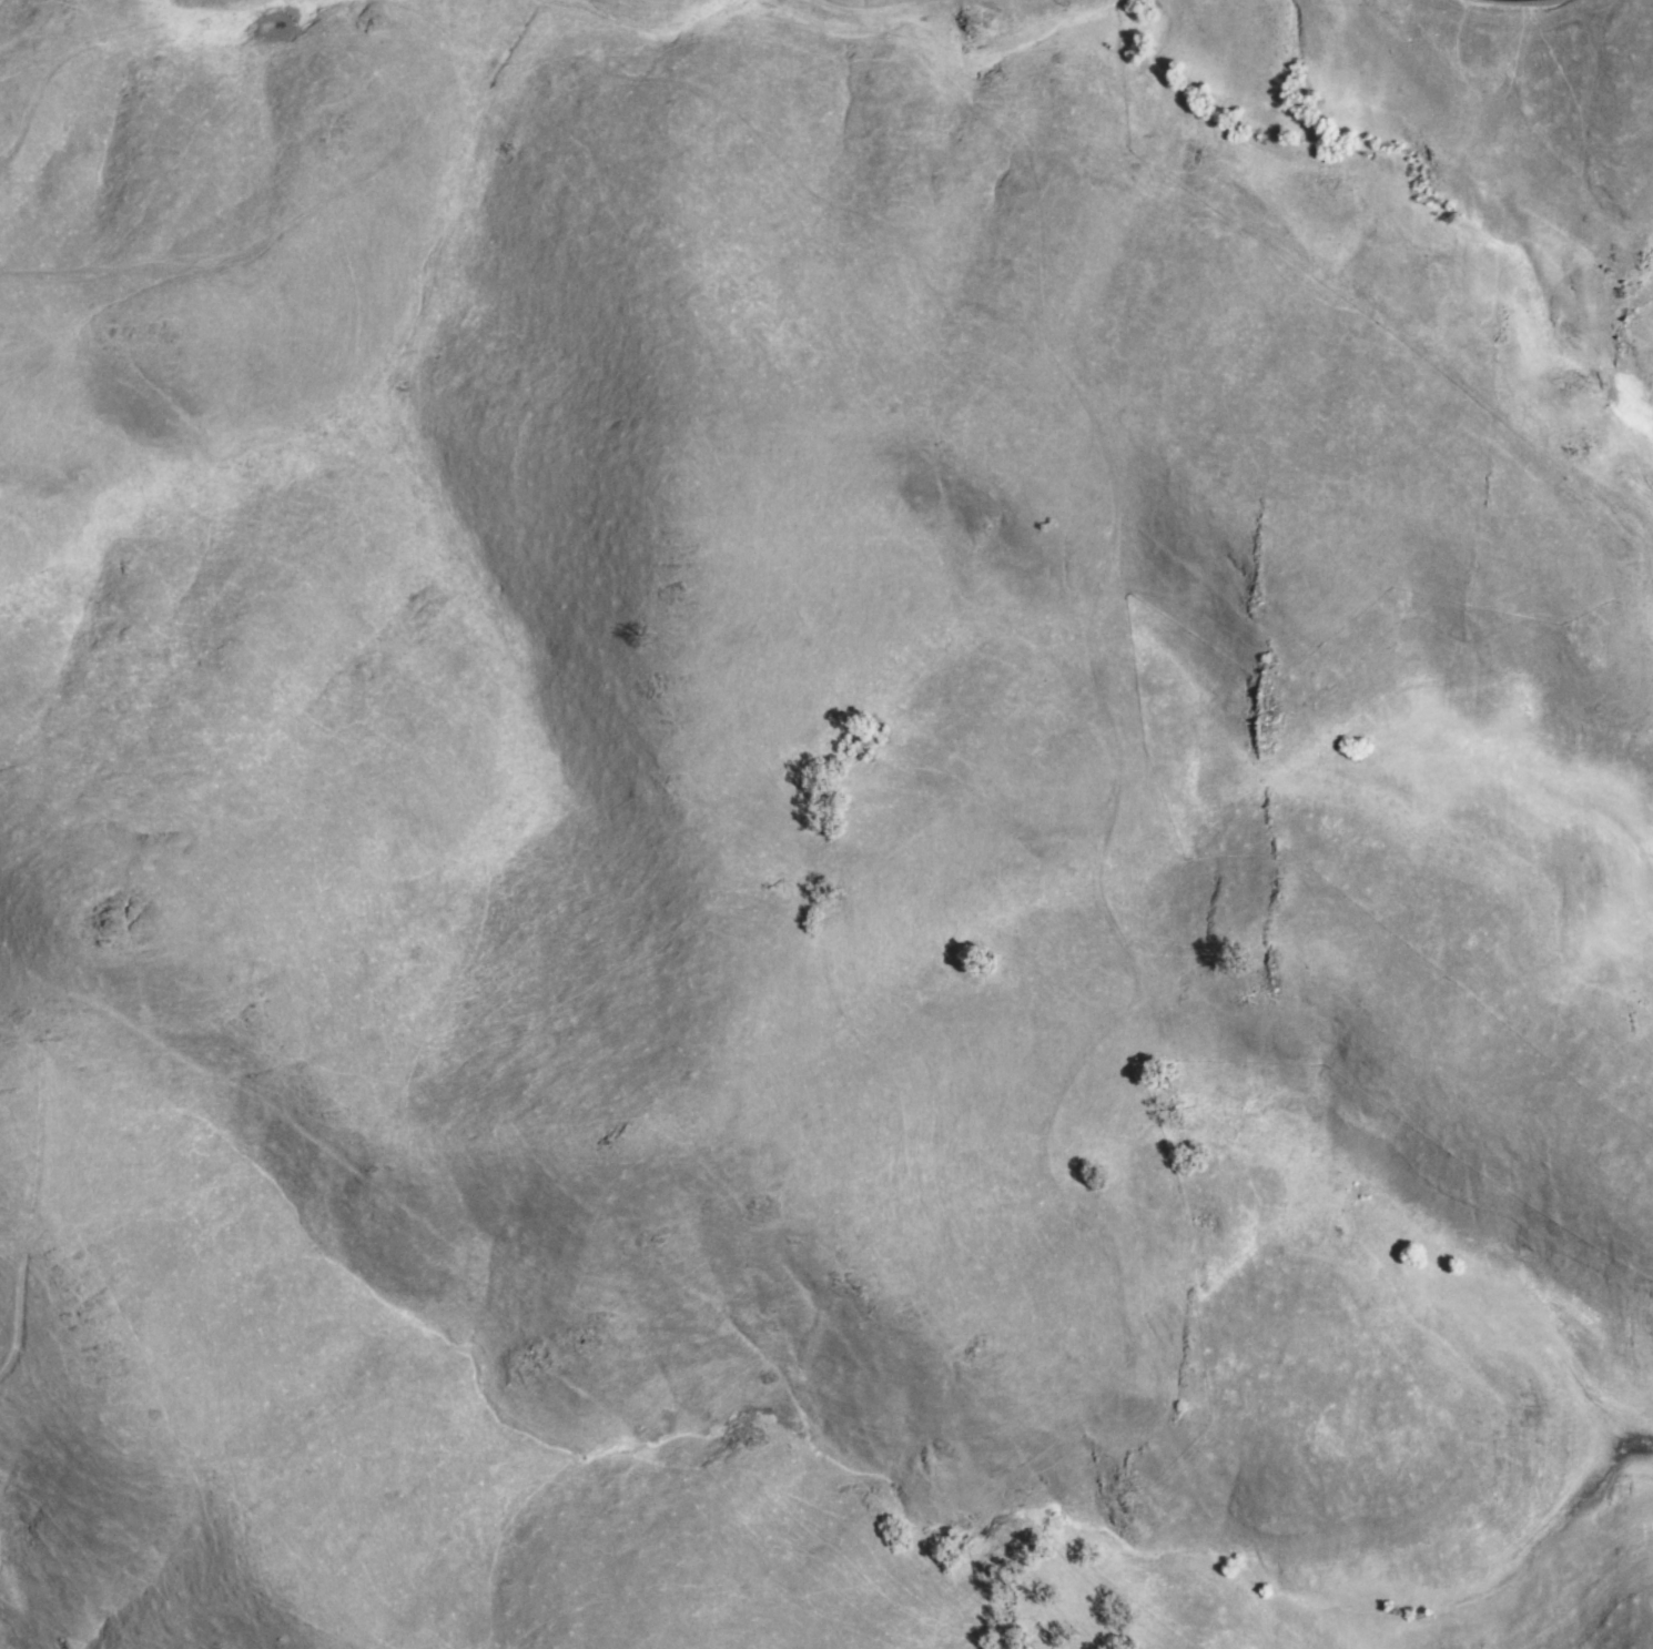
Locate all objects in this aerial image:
park: (1592, 556)
park: (1391, 1397)

